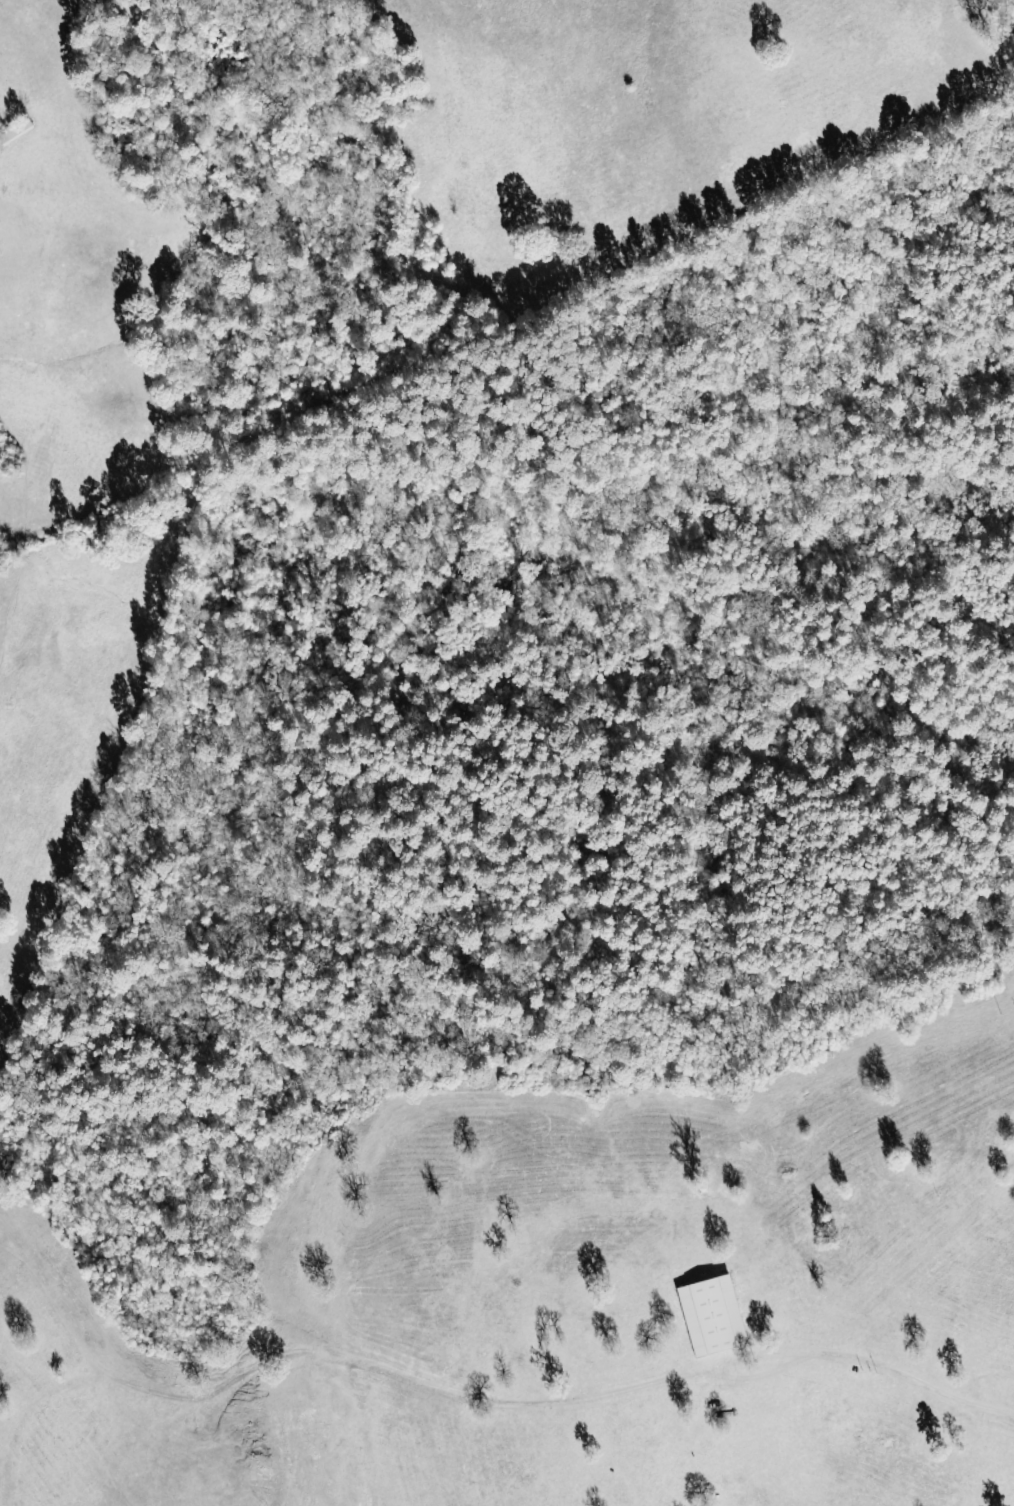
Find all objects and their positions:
building: (715, 1315)

